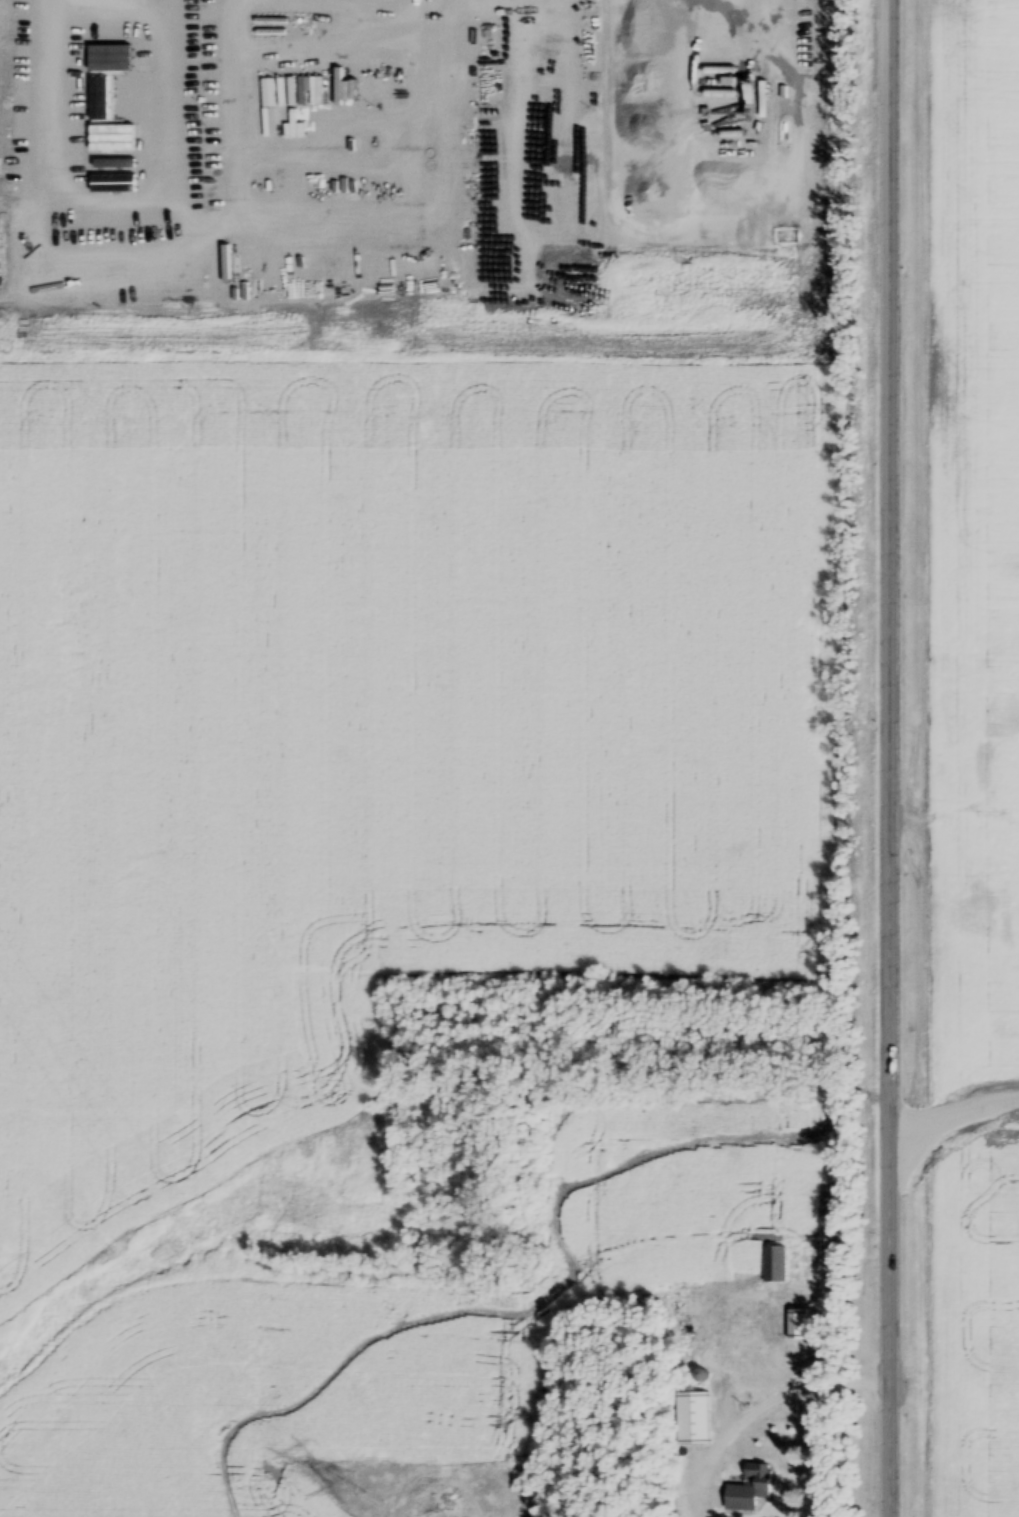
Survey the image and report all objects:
road: (928, 758)
road: (973, 1104)
building: (774, 1264)
building: (742, 1322)
building: (796, 1325)
road: (807, 1383)
building: (691, 1419)
building: (747, 1489)
power tower: (338, 1491)

